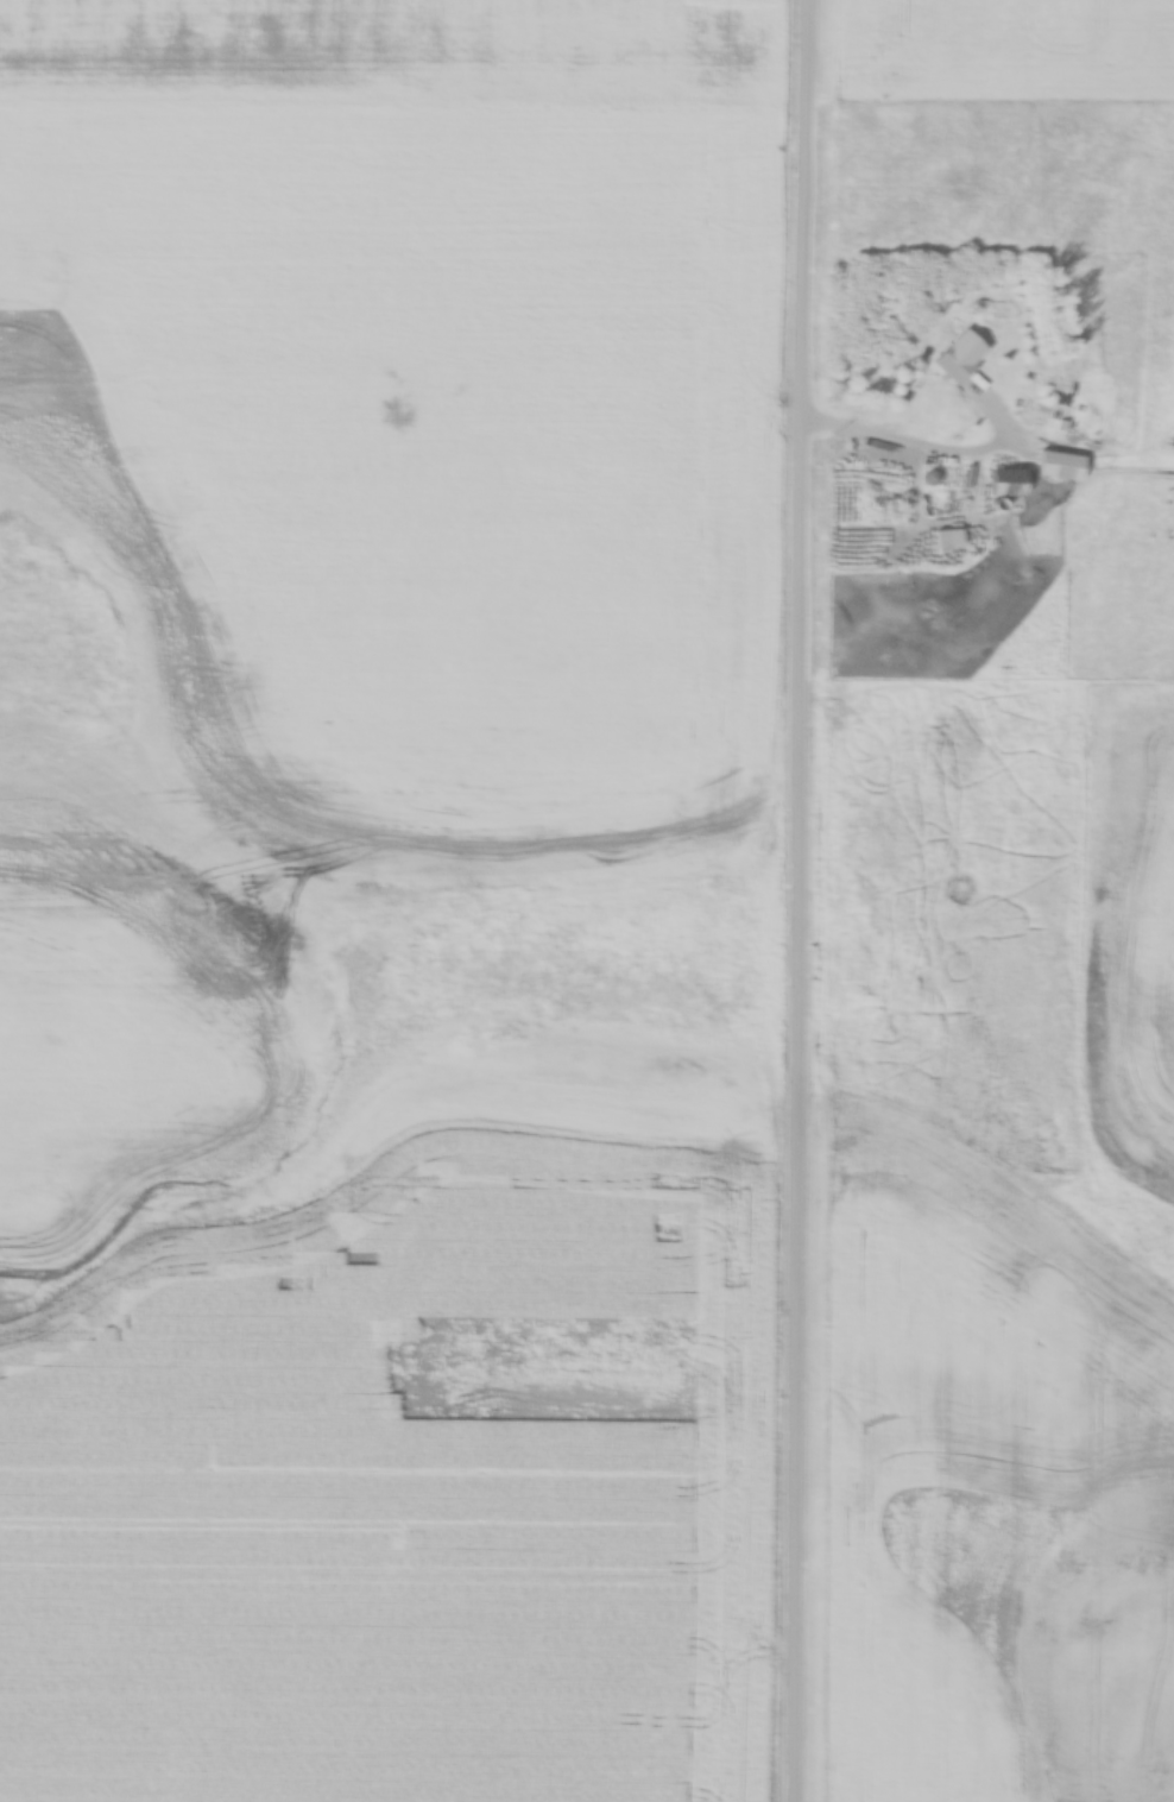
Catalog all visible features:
building: (949, 365)
building: (1003, 484)
road: (799, 900)

